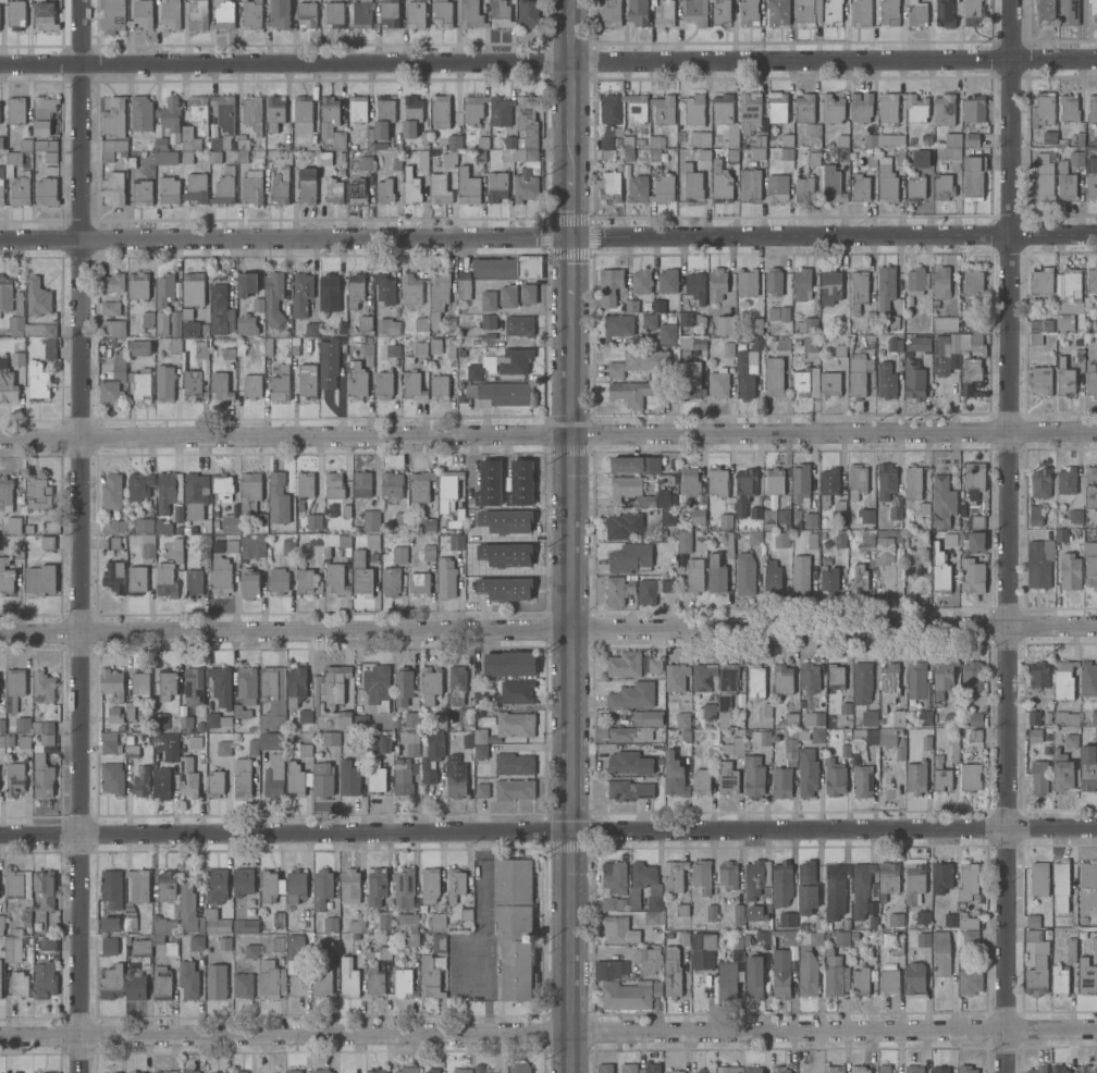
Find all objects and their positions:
building: (440, 0)
building: (1093, 10)
building: (1045, 11)
building: (695, 12)
building: (748, 12)
building: (808, 12)
building: (833, 12)
building: (973, 12)
building: (611, 13)
building: (638, 13)
building: (720, 13)
building: (777, 13)
building: (861, 13)
building: (888, 13)
building: (1068, 13)
building: (170, 14)
building: (362, 14)
building: (390, 14)
building: (416, 14)
building: (443, 14)
building: (501, 14)
building: (664, 14)
building: (916, 14)
building: (944, 14)
building: (15, 15)
building: (141, 15)
building: (197, 15)
building: (251, 15)
building: (280, 15)
building: (307, 15)
building: (334, 15)
building: (471, 15)
building: (528, 15)
building: (112, 16)
building: (45, 17)
building: (224, 17)
road: (547, 62)
building: (861, 107)
building: (637, 108)
building: (776, 108)
building: (473, 109)
building: (804, 109)
building: (887, 109)
building: (303, 110)
building: (330, 110)
building: (358, 110)
building: (694, 110)
building: (831, 110)
building: (915, 110)
building: (973, 110)
building: (1069, 110)
building: (16, 111)
building: (663, 111)
building: (944, 111)
building: (1043, 111)
building: (1093, 111)
building: (441, 112)
building: (501, 112)
building: (224, 113)
building: (274, 113)
building: (749, 113)
building: (198, 114)
building: (252, 114)
building: (44, 115)
building: (112, 116)
building: (383, 116)
building: (411, 116)
building: (608, 119)
building: (724, 120)
building: (168, 123)
building: (527, 124)
building: (140, 125)
building: (212, 128)
building: (186, 134)
building: (370, 135)
building: (813, 135)
building: (786, 136)
building: (1088, 136)
building: (424, 138)
building: (680, 138)
building: (700, 139)
building: (713, 139)
building: (1049, 139)
building: (1077, 139)
building: (338, 140)
building: (926, 140)
building: (952, 140)
building: (972, 140)
building: (454, 141)
building: (842, 141)
building: (871, 141)
building: (890, 141)
building: (243, 143)
building: (482, 143)
building: (510, 143)
building: (628, 143)
building: (655, 143)
building: (757, 143)
building: (911, 143)
building: (1061, 143)
building: (192, 144)
building: (220, 144)
building: (617, 144)
building: (768, 144)
building: (853, 144)
building: (25, 146)
building: (45, 146)
building: (114, 146)
building: (235, 148)
building: (757, 153)
building: (954, 153)
building: (526, 155)
building: (628, 155)
building: (786, 155)
building: (841, 155)
building: (452, 156)
building: (480, 156)
building: (507, 156)
building: (607, 156)
building: (700, 156)
building: (107, 157)
building: (654, 157)
building: (50, 158)
building: (167, 158)
building: (187, 158)
building: (215, 158)
building: (242, 158)
building: (731, 158)
building: (900, 158)
building: (921, 159)
building: (324, 160)
building: (813, 160)
building: (1076, 160)
building: (423, 161)
building: (872, 162)
building: (12, 163)
building: (132, 163)
building: (365, 163)
building: (396, 164)
building: (268, 166)
building: (1062, 168)
building: (342, 172)
building: (1044, 176)
building: (973, 180)
building: (1090, 180)
building: (886, 182)
building: (720, 183)
building: (691, 185)
building: (1, 186)
building: (307, 186)
building: (525, 186)
building: (749, 186)
building: (831, 186)
building: (225, 187)
building: (281, 187)
building: (411, 187)
building: (468, 187)
building: (497, 187)
building: (608, 187)
building: (914, 187)
building: (113, 188)
building: (776, 188)
building: (942, 188)
building: (1067, 188)
building: (197, 189)
building: (251, 189)
building: (440, 189)
building: (637, 189)
building: (859, 189)
building: (21, 190)
building: (663, 190)
building: (803, 190)
building: (169, 192)
building: (334, 192)
building: (46, 193)
building: (141, 193)
building: (357, 193)
building: (384, 193)
road: (547, 237)
traffic signals: (572, 237)
building: (509, 268)
building: (464, 274)
building: (641, 282)
building: (667, 282)
building: (773, 282)
building: (915, 282)
building: (1041, 282)
building: (1092, 282)
building: (113, 283)
building: (886, 283)
building: (246, 284)
building: (747, 284)
building: (940, 284)
building: (716, 285)
building: (802, 285)
building: (973, 285)
building: (1072, 285)
building: (138, 286)
building: (609, 286)
building: (695, 287)
building: (830, 287)
building: (193, 289)
building: (384, 289)
building: (164, 291)
building: (355, 291)
building: (464, 291)
building: (859, 291)
building: (329, 293)
building: (411, 293)
building: (301, 295)
building: (529, 295)
building: (439, 296)
building: (509, 296)
building: (10, 298)
building: (37, 298)
building: (273, 299)
building: (489, 301)
building: (935, 305)
building: (631, 307)
building: (658, 307)
building: (110, 309)
building: (258, 309)
building: (220, 311)
building: (186, 313)
building: (785, 314)
building: (949, 317)
building: (147, 320)
building: (686, 320)
building: (871, 320)
building: (649, 321)
building: (489, 322)
building: (699, 322)
building: (1064, 322)
building: (161, 323)
building: (175, 323)
building: (889, 323)
building: (365, 324)
building: (944, 324)
building: (16, 325)
building: (246, 325)
building: (421, 325)
building: (452, 325)
building: (755, 325)
building: (520, 326)
building: (617, 326)
building: (724, 326)
building: (806, 326)
building: (977, 326)
building: (1041, 326)
building: (389, 328)
building: (113, 329)
building: (190, 330)
building: (204, 330)
building: (311, 330)
building: (342, 330)
building: (40, 331)
building: (666, 335)
building: (1088, 338)
building: (849, 340)
building: (1035, 340)
building: (295, 342)
building: (342, 342)
building: (685, 343)
building: (114, 344)
building: (699, 344)
building: (756, 344)
building: (782, 345)
building: (810, 345)
building: (919, 345)
building: (971, 345)
building: (175, 346)
building: (268, 347)
building: (895, 347)
building: (944, 347)
building: (139, 348)
building: (417, 348)
building: (728, 348)
building: (435, 349)
building: (452, 349)
building: (241, 350)
building: (294, 350)
building: (369, 350)
building: (393, 350)
building: (201, 351)
building: (839, 353)
building: (50, 354)
building: (227, 355)
building: (685, 355)
building: (1078, 357)
building: (17, 360)
building: (515, 361)
building: (786, 361)
building: (639, 362)
building: (329, 363)
building: (119, 366)
building: (744, 372)
building: (474, 373)
building: (130, 378)
building: (856, 379)
building: (971, 379)
building: (1064, 379)
building: (774, 380)
building: (356, 381)
building: (913, 381)
building: (38, 382)
building: (307, 382)
building: (691, 382)
building: (886, 382)
building: (1092, 382)
building: (7, 383)
building: (164, 383)
building: (1039, 383)
building: (280, 384)
building: (384, 384)
building: (805, 384)
building: (141, 385)
building: (718, 385)
building: (251, 386)
building: (414, 386)
building: (460, 386)
building: (829, 386)
building: (194, 387)
building: (220, 387)
building: (440, 387)
building: (668, 391)
building: (110, 392)
building: (498, 394)
building: (630, 394)
road: (548, 435)
building: (634, 465)
building: (973, 480)
building: (773, 482)
building: (856, 482)
building: (885, 482)
building: (1067, 482)
building: (717, 483)
building: (912, 483)
building: (391, 484)
building: (1040, 484)
building: (305, 485)
building: (362, 485)
building: (139, 486)
building: (333, 486)
building: (421, 486)
building: (687, 486)
building: (800, 486)
building: (828, 486)
building: (223, 488)
building: (1090, 488)
building: (624, 489)
building: (169, 491)
building: (447, 491)
building: (743, 491)
building: (111, 493)
building: (38, 494)
building: (502, 494)
building: (5, 495)
building: (195, 495)
building: (251, 497)
building: (278, 501)
building: (662, 502)
building: (941, 503)
building: (924, 509)
building: (346, 511)
building: (755, 514)
building: (838, 514)
building: (178, 515)
building: (215, 515)
building: (895, 515)
building: (697, 517)
building: (782, 517)
building: (865, 517)
building: (1035, 517)
building: (1075, 517)
building: (667, 518)
building: (400, 519)
building: (768, 519)
building: (457, 520)
building: (810, 520)
building: (232, 521)
building: (313, 521)
building: (371, 521)
building: (977, 521)
building: (725, 522)
building: (215, 525)
building: (14, 526)
building: (113, 526)
building: (429, 526)
building: (144, 527)
building: (163, 527)
building: (623, 527)
building: (954, 527)
building: (357, 529)
building: (178, 530)
building: (186, 531)
building: (840, 532)
road: (77, 536)
road: (569, 536)
building: (822, 536)
road: (1007, 536)
building: (1061, 536)
building: (959, 538)
building: (754, 539)
building: (164, 540)
building: (780, 540)
building: (316, 541)
building: (811, 541)
building: (949, 541)
building: (344, 542)
building: (372, 542)
building: (456, 542)
building: (683, 542)
building: (866, 542)
building: (47, 543)
building: (840, 543)
building: (974, 543)
building: (113, 544)
building: (826, 544)
building: (232, 546)
building: (728, 546)
building: (886, 546)
building: (148, 547)
building: (252, 547)
building: (288, 547)
building: (177, 548)
building: (1089, 548)
building: (20, 551)
building: (429, 553)
building: (206, 554)
building: (503, 554)
building: (400, 556)
building: (358, 558)
building: (630, 559)
building: (157, 562)
building: (825, 562)
building: (1039, 564)
building: (939, 571)
building: (1070, 572)
building: (1090, 572)
building: (744, 576)
building: (800, 576)
building: (694, 577)
building: (716, 577)
building: (5, 578)
building: (114, 578)
building: (221, 578)
building: (885, 578)
building: (973, 578)
building: (446, 579)
building: (772, 579)
building: (137, 580)
building: (336, 580)
building: (859, 580)
building: (40, 581)
building: (279, 581)
building: (828, 581)
building: (912, 581)
building: (167, 582)
building: (305, 582)
building: (362, 582)
building: (390, 582)
building: (194, 583)
building: (250, 584)
building: (419, 585)
building: (666, 587)
building: (504, 588)
building: (318, 589)
building: (617, 592)
building: (645, 593)
road: (548, 630)
building: (510, 664)
building: (624, 665)
building: (654, 665)
building: (1038, 676)
building: (702, 677)
building: (835, 677)
building: (972, 677)
building: (676, 678)
building: (809, 678)
building: (942, 679)
building: (1088, 679)
building: (781, 680)
building: (1064, 680)
building: (916, 681)
building: (755, 682)
building: (862, 683)
building: (112, 684)
building: (140, 684)
building: (167, 684)
building: (431, 684)
building: (888, 684)
building: (247, 686)
building: (457, 686)
building: (194, 687)
building: (221, 687)
building: (296, 687)
building: (403, 687)
building: (727, 687)
building: (42, 688)
building: (14, 689)
building: (378, 689)
building: (517, 692)
building: (632, 696)
building: (273, 699)
building: (331, 700)
building: (481, 700)
building: (130, 711)
building: (846, 711)
building: (241, 712)
building: (708, 712)
building: (766, 712)
building: (114, 716)
building: (305, 717)
building: (464, 717)
building: (646, 718)
building: (898, 718)
building: (1033, 718)
building: (1065, 718)
building: (1094, 718)
building: (411, 719)
building: (870, 719)
building: (925, 719)
building: (217, 720)
building: (682, 720)
building: (791, 720)
building: (818, 720)
building: (950, 720)
building: (975, 720)
building: (160, 721)
building: (440, 721)
building: (185, 724)
building: (361, 724)
building: (23, 725)
building: (516, 725)
building: (2, 727)
building: (44, 728)
building: (120, 728)
building: (252, 729)
building: (601, 732)
building: (747, 733)
building: (1095, 733)
building: (628, 735)
building: (890, 735)
building: (480, 736)
building: (803, 736)
building: (817, 736)
building: (974, 737)
building: (1035, 737)
building: (871, 738)
building: (330, 739)
building: (760, 739)
building: (1047, 739)
building: (44, 740)
building: (10, 741)
building: (1071, 741)
building: (1, 742)
building: (195, 742)
building: (24, 743)
building: (685, 743)
building: (926, 743)
building: (110, 744)
building: (466, 744)
building: (412, 745)
building: (953, 745)
building: (385, 747)
building: (734, 747)
building: (790, 747)
building: (252, 748)
building: (223, 749)
building: (296, 749)
building: (305, 751)
building: (846, 751)
building: (900, 751)
building: (132, 752)
building: (171, 752)
building: (481, 752)
building: (712, 753)
building: (1058, 755)
building: (432, 756)
building: (628, 764)
building: (273, 765)
building: (515, 765)
building: (1088, 769)
building: (806, 773)
building: (941, 776)
building: (1062, 776)
building: (42, 777)
building: (404, 777)
building: (674, 777)
building: (187, 778)
building: (243, 778)
building: (375, 778)
building: (754, 778)
building: (835, 778)
building: (916, 778)
building: (970, 778)
building: (1038, 778)
building: (112, 779)
building: (348, 779)
building: (727, 779)
building: (14, 780)
building: (295, 780)
building: (323, 780)
building: (660, 781)
building: (701, 782)
building: (862, 782)
building: (140, 784)
building: (161, 784)
building: (781, 784)
building: (215, 785)
building: (456, 786)
building: (515, 790)
building: (482, 791)
building: (628, 791)
road: (548, 834)
building: (727, 875)
building: (1089, 875)
building: (674, 876)
building: (701, 877)
building: (940, 878)
building: (1061, 878)
building: (615, 879)
building: (755, 879)
building: (1039, 880)
building: (887, 881)
building: (243, 883)
building: (455, 884)
building: (969, 884)
building: (19, 885)
building: (350, 885)
building: (780, 885)
building: (914, 885)
building: (138, 886)
building: (167, 886)
building: (296, 886)
building: (430, 886)
building: (638, 886)
building: (268, 888)
building: (375, 888)
building: (404, 888)
building: (45, 889)
building: (111, 889)
building: (322, 889)
building: (806, 889)
building: (861, 889)
building: (835, 890)
building: (215, 901)
building: (608, 904)
building: (625, 908)
building: (766, 910)
building: (681, 911)
building: (130, 912)
building: (188, 912)
building: (466, 914)
building: (711, 914)
building: (738, 915)
building: (26, 917)
building: (922, 918)
building: (279, 920)
building: (652, 920)
building: (1084, 920)
building: (385, 921)
building: (787, 921)
building: (408, 922)
building: (896, 922)
building: (950, 922)
building: (966, 922)
building: (1037, 922)
building: (356, 923)
building: (437, 924)
building: (817, 924)
building: (846, 924)
building: (872, 924)
building: (1, 925)
building: (110, 925)
building: (331, 925)
building: (802, 925)
building: (131, 926)
building: (163, 926)
building: (827, 926)
building: (39, 927)
building: (246, 927)
building: (515, 928)
building: (618, 930)
building: (15, 932)
road: (485, 934)
building: (872, 934)
building: (853, 935)
building: (668, 936)
building: (719, 936)
building: (1034, 936)
building: (355, 937)
building: (826, 938)
building: (970, 938)
building: (411, 939)
building: (686, 939)
building: (762, 939)
building: (841, 939)
building: (157, 940)
building: (923, 940)
building: (127, 941)
building: (439, 942)
building: (1094, 943)
building: (48, 945)
building: (196, 945)
building: (224, 945)
building: (278, 945)
building: (109, 947)
building: (171, 948)
building: (332, 948)
building: (13, 950)
building: (141, 950)
building: (896, 950)
building: (1071, 950)
building: (251, 952)
building: (295, 952)
building: (702, 952)
building: (384, 954)
building: (940, 954)
building: (403, 960)
building: (646, 960)
building: (781, 961)
building: (808, 966)
building: (729, 970)
building: (609, 971)
building: (671, 973)
building: (835, 975)
building: (431, 976)
building: (754, 977)
building: (1086, 977)
building: (913, 978)
building: (0, 979)
building: (348, 979)
building: (45, 980)
building: (188, 980)
building: (111, 983)
building: (215, 983)
building: (322, 983)
building: (374, 983)
building: (860, 983)
building: (969, 983)
building: (1037, 983)
building: (1060, 983)
building: (272, 984)
building: (888, 984)
building: (162, 985)
building: (404, 985)
building: (20, 986)
building: (243, 986)
building: (135, 987)
building: (656, 989)
building: (625, 996)
road: (548, 1035)
building: (520, 1068)
building: (604, 1069)
building: (628, 1069)
building: (651, 1069)
building: (408, 1070)
building: (480, 1070)
building: (728, 1070)
building: (752, 1070)
building: (778, 1070)
building: (834, 1070)
building: (859, 1070)
building: (884, 1070)
building: (912, 1070)
building: (940, 1070)
building: (965, 1070)
building: (1039, 1070)
building: (1061, 1070)
building: (1085, 1070)
building: (321, 1071)
building: (377, 1071)
building: (434, 1071)
building: (463, 1071)
building: (703, 1071)
building: (131, 1072)
building: (170, 1072)
building: (186, 1072)
building: (214, 1072)
building: (242, 1072)
building: (294, 1072)
building: (674, 1072)
building: (681, 1072)

